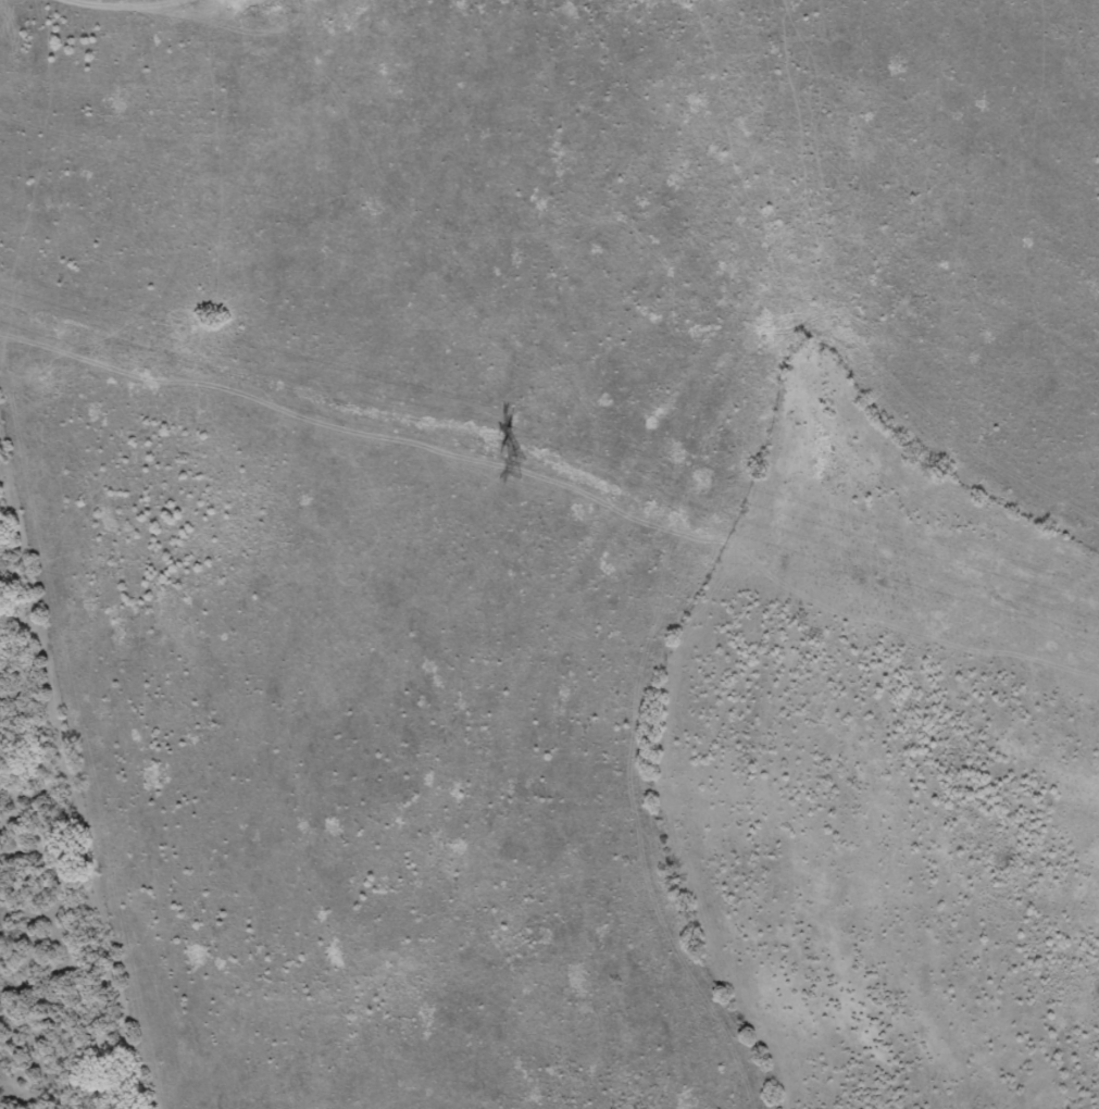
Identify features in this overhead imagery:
power tower: (515, 464)

